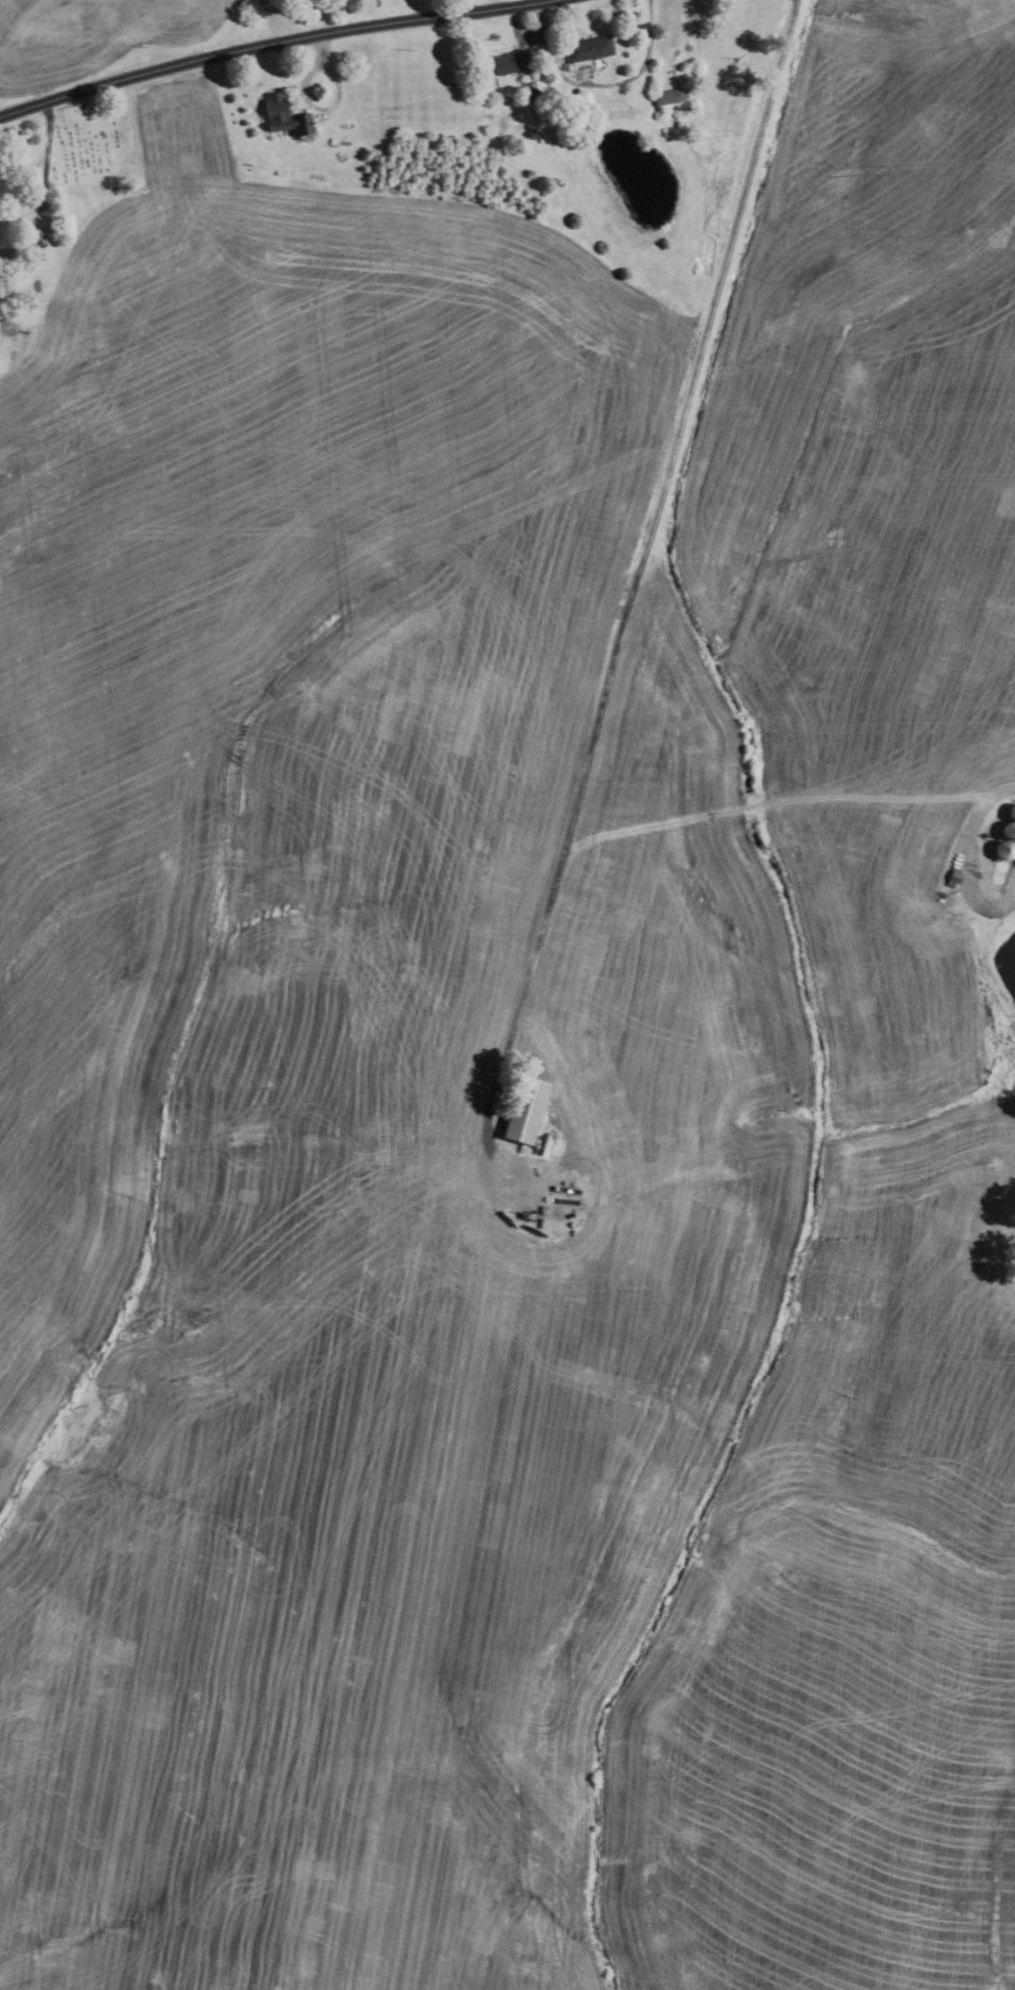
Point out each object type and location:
road: (514, 2)
road: (343, 14)
road: (540, 20)
crop: (95, 37)
road: (269, 43)
building: (590, 48)
building: (509, 62)
road: (321, 64)
road: (591, 87)
building: (530, 93)
building: (672, 102)
building: (284, 116)
building: (531, 135)
park: (89, 141)
road: (42, 191)
road: (648, 532)
building: (1012, 813)
silo: (1012, 813)
building: (1008, 832)
silo: (1008, 832)
building: (1014, 848)
building: (1003, 850)
silo: (1003, 850)
road: (972, 856)
building: (1001, 867)
silo: (1001, 867)
building: (953, 878)
building: (997, 879)
silo: (997, 879)
building: (992, 888)
silo: (992, 888)
building: (524, 1112)

